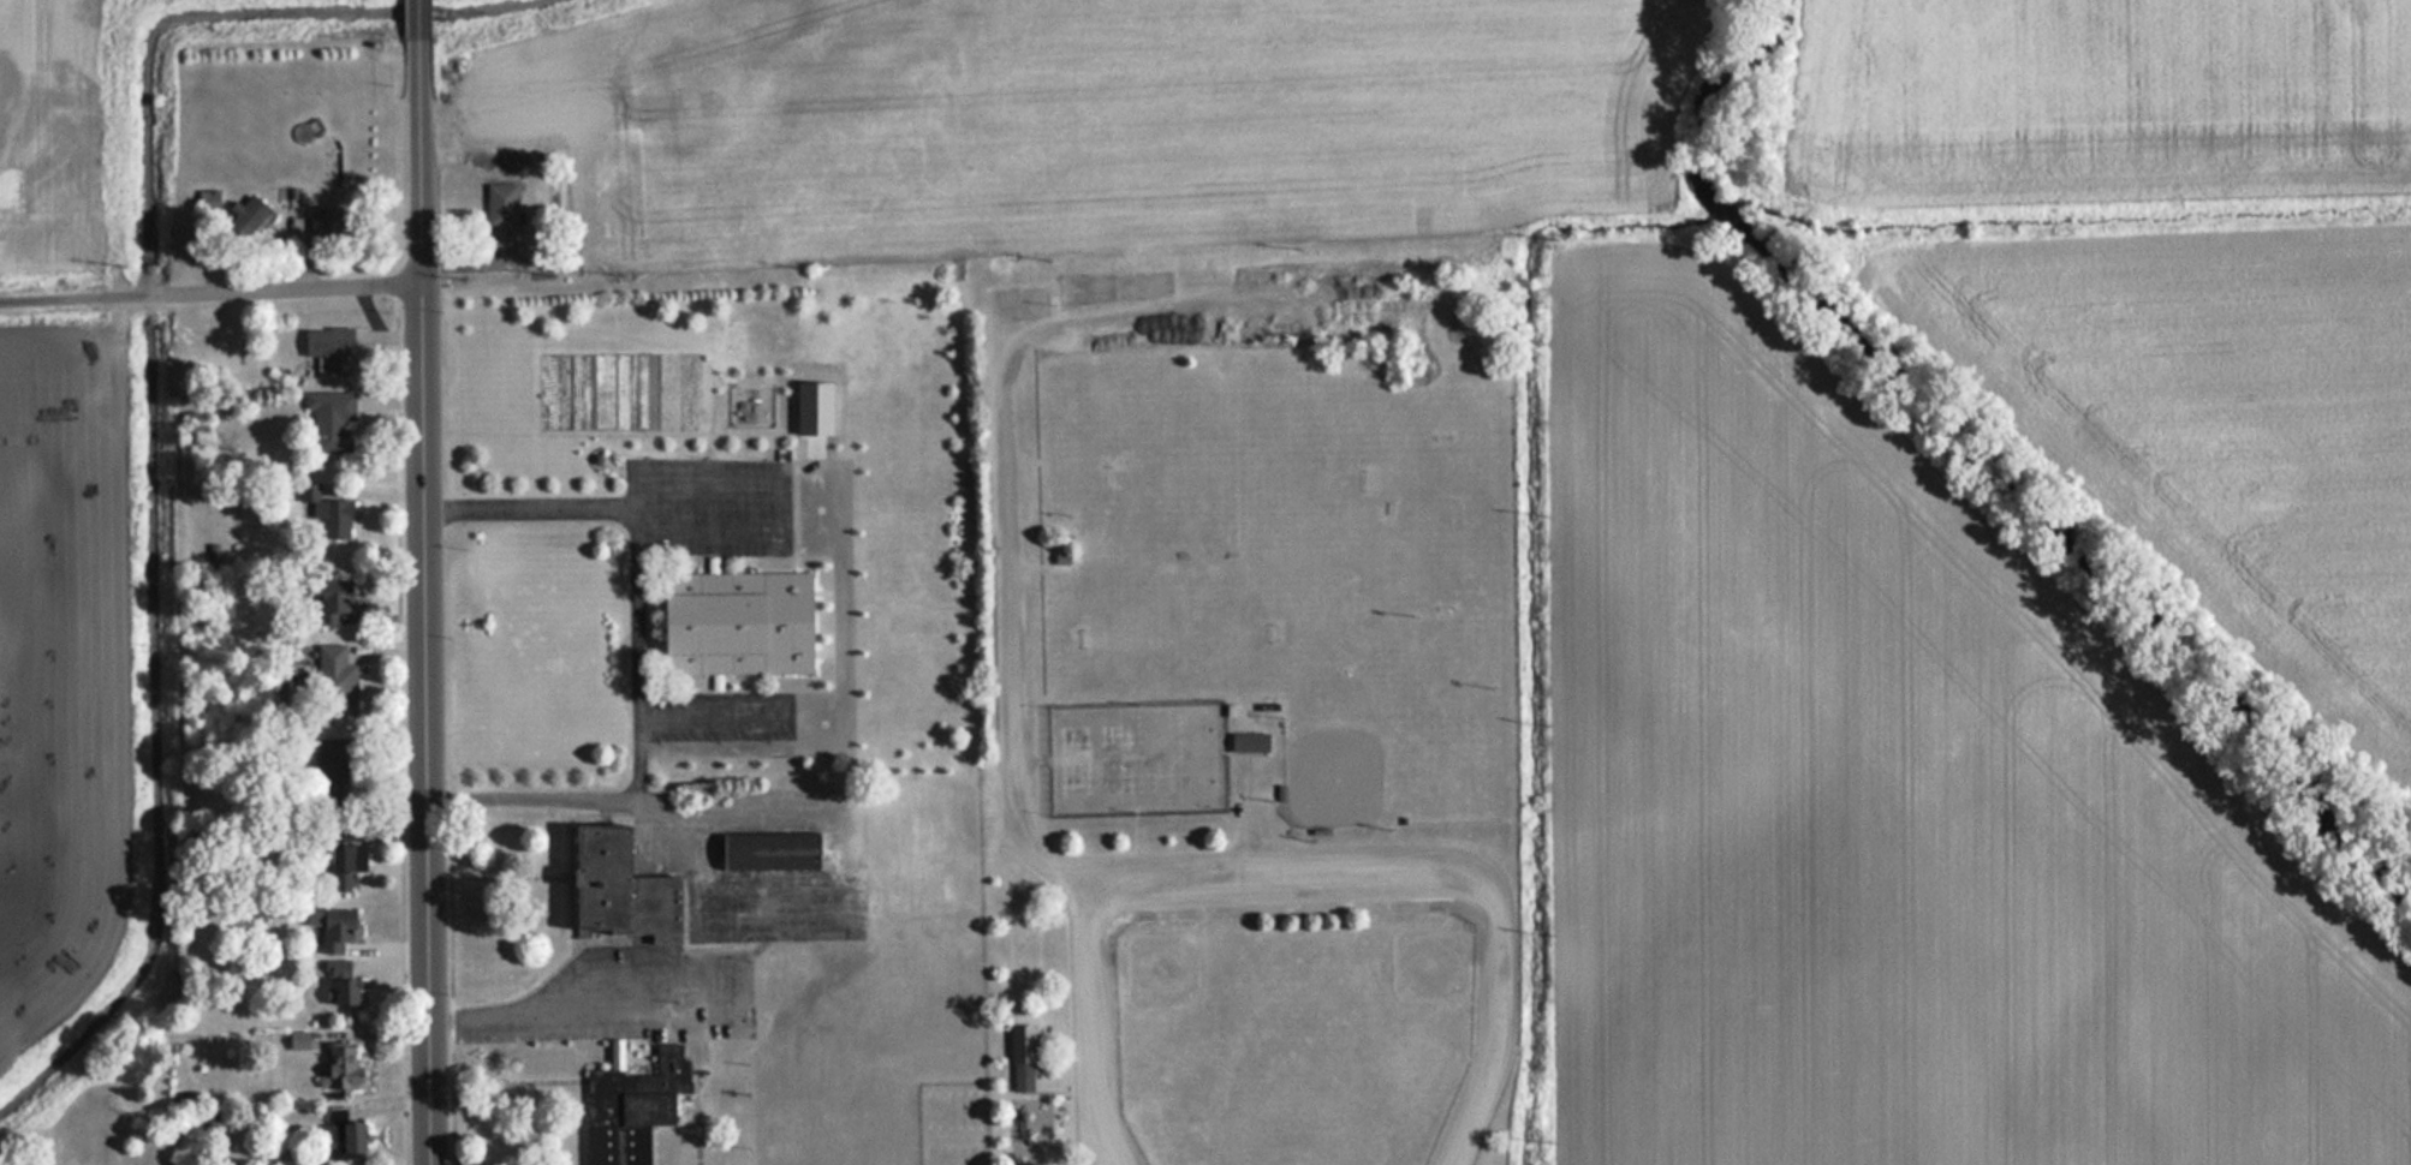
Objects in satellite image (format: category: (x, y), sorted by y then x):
road: (422, 141)
building: (208, 199)
building: (245, 214)
building: (500, 214)
building: (323, 223)
road: (210, 294)
building: (328, 347)
building: (331, 420)
road: (1010, 440)
park: (1242, 477)
road: (709, 506)
building: (323, 507)
road: (529, 508)
park: (1440, 525)
road: (709, 533)
road: (713, 560)
road: (787, 585)
road: (647, 592)
building: (332, 599)
building: (712, 623)
park: (1166, 635)
road: (781, 641)
road: (718, 681)
building: (341, 689)
road: (716, 703)
road: (406, 724)
road: (425, 724)
park: (1183, 730)
building: (1249, 742)
park: (1359, 745)
road: (638, 755)
park: (1136, 758)
building: (333, 760)
road: (781, 800)
road: (1254, 815)
building: (768, 849)
building: (339, 865)
road: (1299, 874)
building: (615, 888)
road: (767, 903)
road: (1296, 913)
building: (332, 927)
road: (457, 981)
building: (339, 982)
park: (1401, 994)
park: (1199, 998)
road: (689, 1015)
road: (1101, 1027)
road: (1494, 1038)
building: (1020, 1058)
building: (341, 1068)
building: (633, 1109)
building: (206, 1118)
building: (343, 1134)
park: (1294, 1134)

